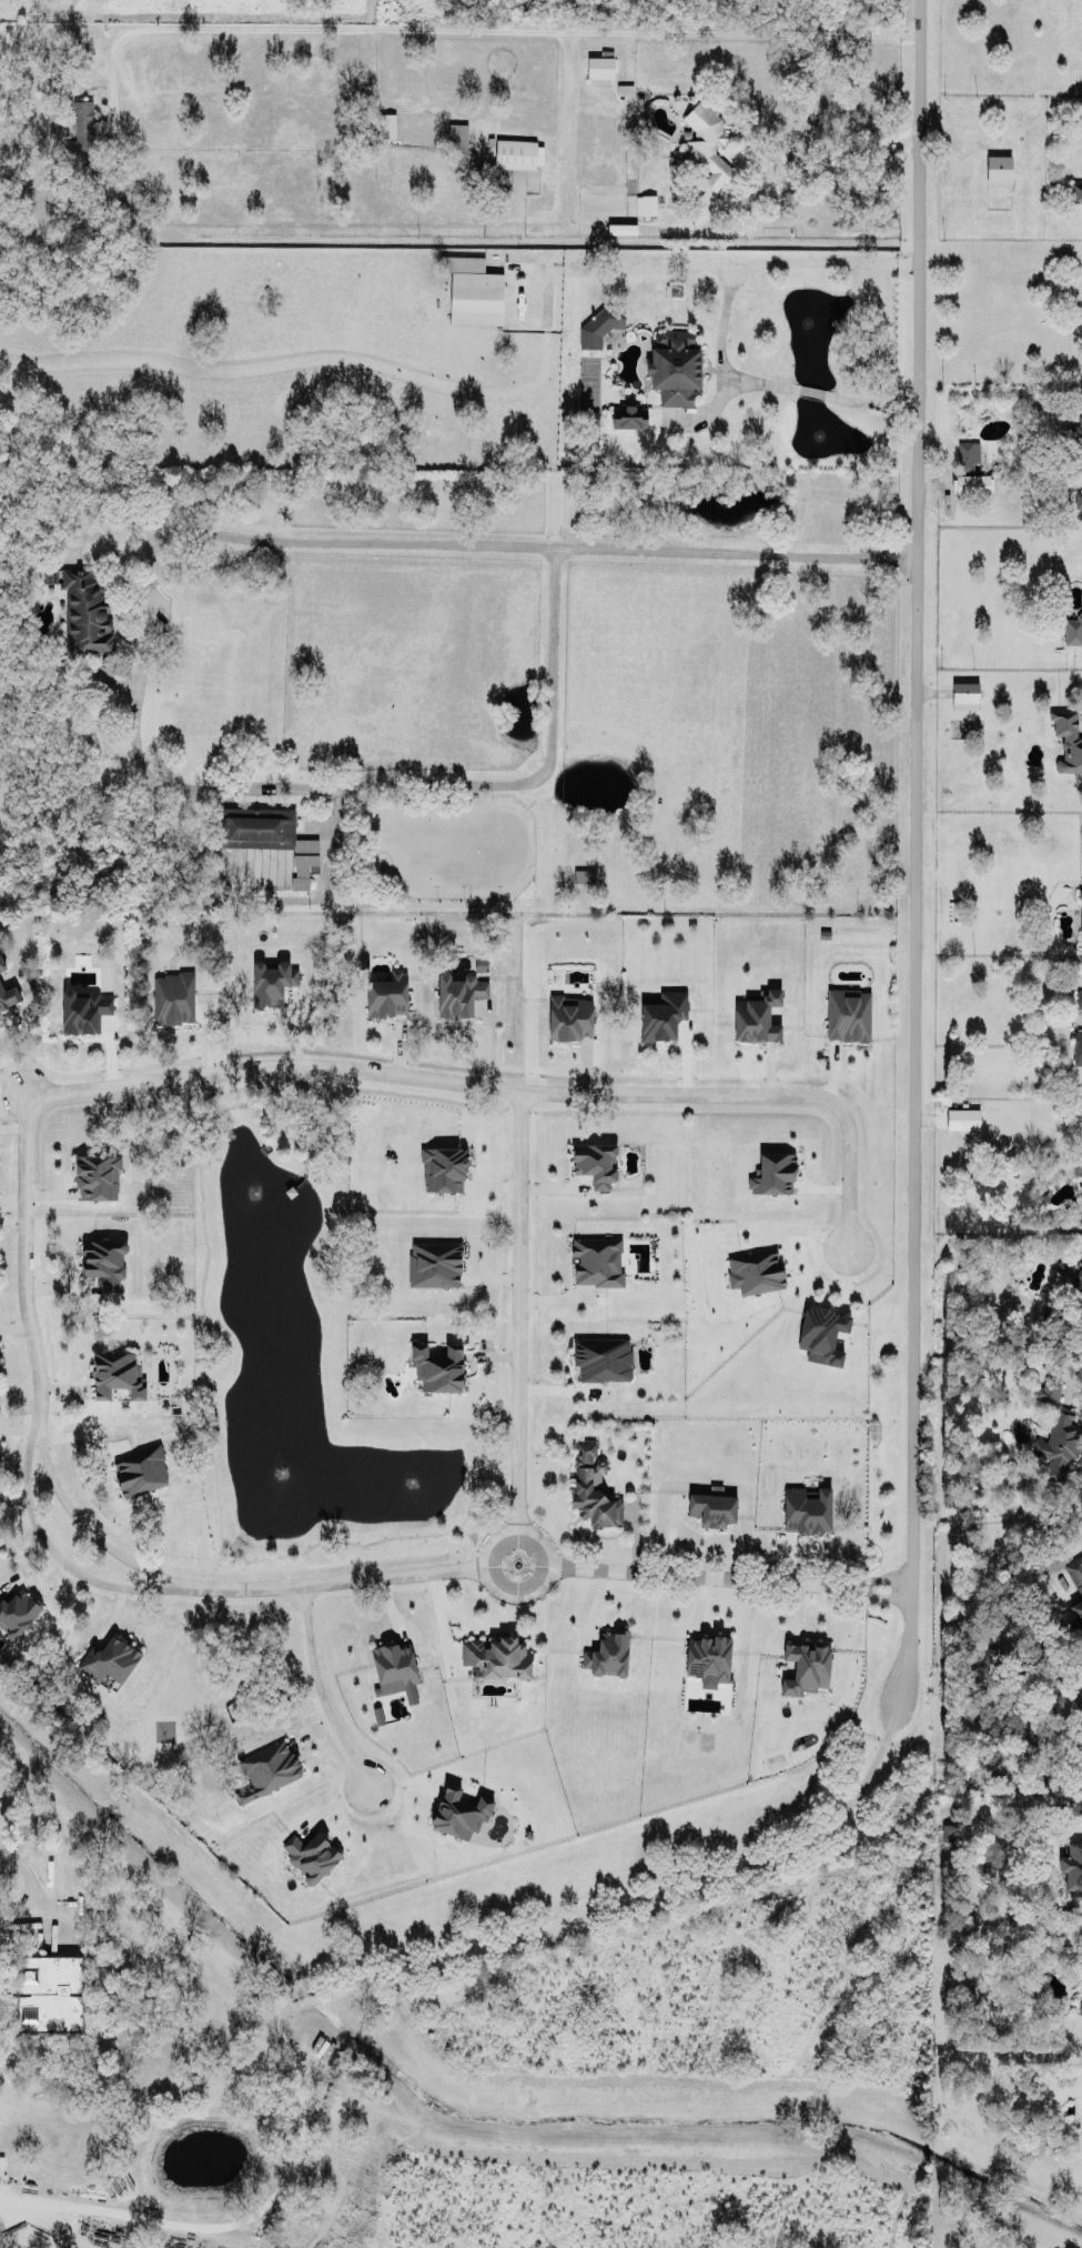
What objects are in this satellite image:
road: (472, 28)
building: (598, 63)
building: (83, 123)
building: (385, 123)
building: (706, 140)
building: (518, 152)
building: (998, 168)
building: (1081, 170)
road: (817, 172)
building: (1076, 187)
building: (644, 203)
road: (678, 224)
building: (620, 227)
road: (641, 263)
building: (473, 289)
building: (1081, 313)
building: (601, 322)
road: (722, 327)
building: (673, 364)
building: (628, 411)
building: (588, 415)
building: (1075, 430)
building: (967, 453)
building: (1081, 463)
building: (971, 483)
building: (1078, 498)
road: (146, 519)
building: (84, 608)
building: (1072, 628)
road: (144, 631)
road: (557, 664)
road: (203, 665)
building: (964, 694)
building: (1066, 735)
building: (267, 835)
road: (919, 872)
building: (584, 874)
road: (261, 895)
building: (1080, 913)
building: (1, 963)
building: (272, 981)
building: (459, 990)
building: (387, 991)
building: (8, 995)
building: (173, 996)
building: (1079, 998)
building: (83, 1008)
building: (846, 1011)
building: (663, 1014)
building: (757, 1014)
building: (569, 1015)
building: (1078, 1045)
road: (431, 1076)
building: (963, 1117)
building: (595, 1160)
building: (443, 1166)
building: (1078, 1167)
building: (775, 1170)
building: (97, 1172)
road: (848, 1172)
road: (24, 1247)
building: (598, 1258)
building: (104, 1260)
building: (434, 1261)
building: (755, 1271)
building: (1080, 1278)
road: (518, 1307)
building: (821, 1333)
building: (603, 1357)
building: (439, 1363)
building: (117, 1367)
road: (1076, 1384)
building: (1048, 1387)
building: (1059, 1443)
building: (140, 1469)
building: (593, 1486)
building: (712, 1507)
building: (807, 1508)
road: (82, 1521)
road: (50, 1548)
road: (705, 1572)
road: (491, 1577)
road: (340, 1579)
road: (888, 1584)
building: (1078, 1600)
building: (16, 1608)
building: (607, 1649)
building: (496, 1650)
building: (109, 1655)
building: (707, 1656)
building: (806, 1666)
building: (394, 1668)
road: (314, 1689)
building: (265, 1767)
building: (458, 1806)
building: (946, 1831)
building: (311, 1849)
building: (1073, 1869)
road: (24, 1907)
road: (608, 1914)
road: (141, 1951)
building: (49, 1991)
building: (1080, 2007)
road: (8, 2204)
road: (233, 2226)

